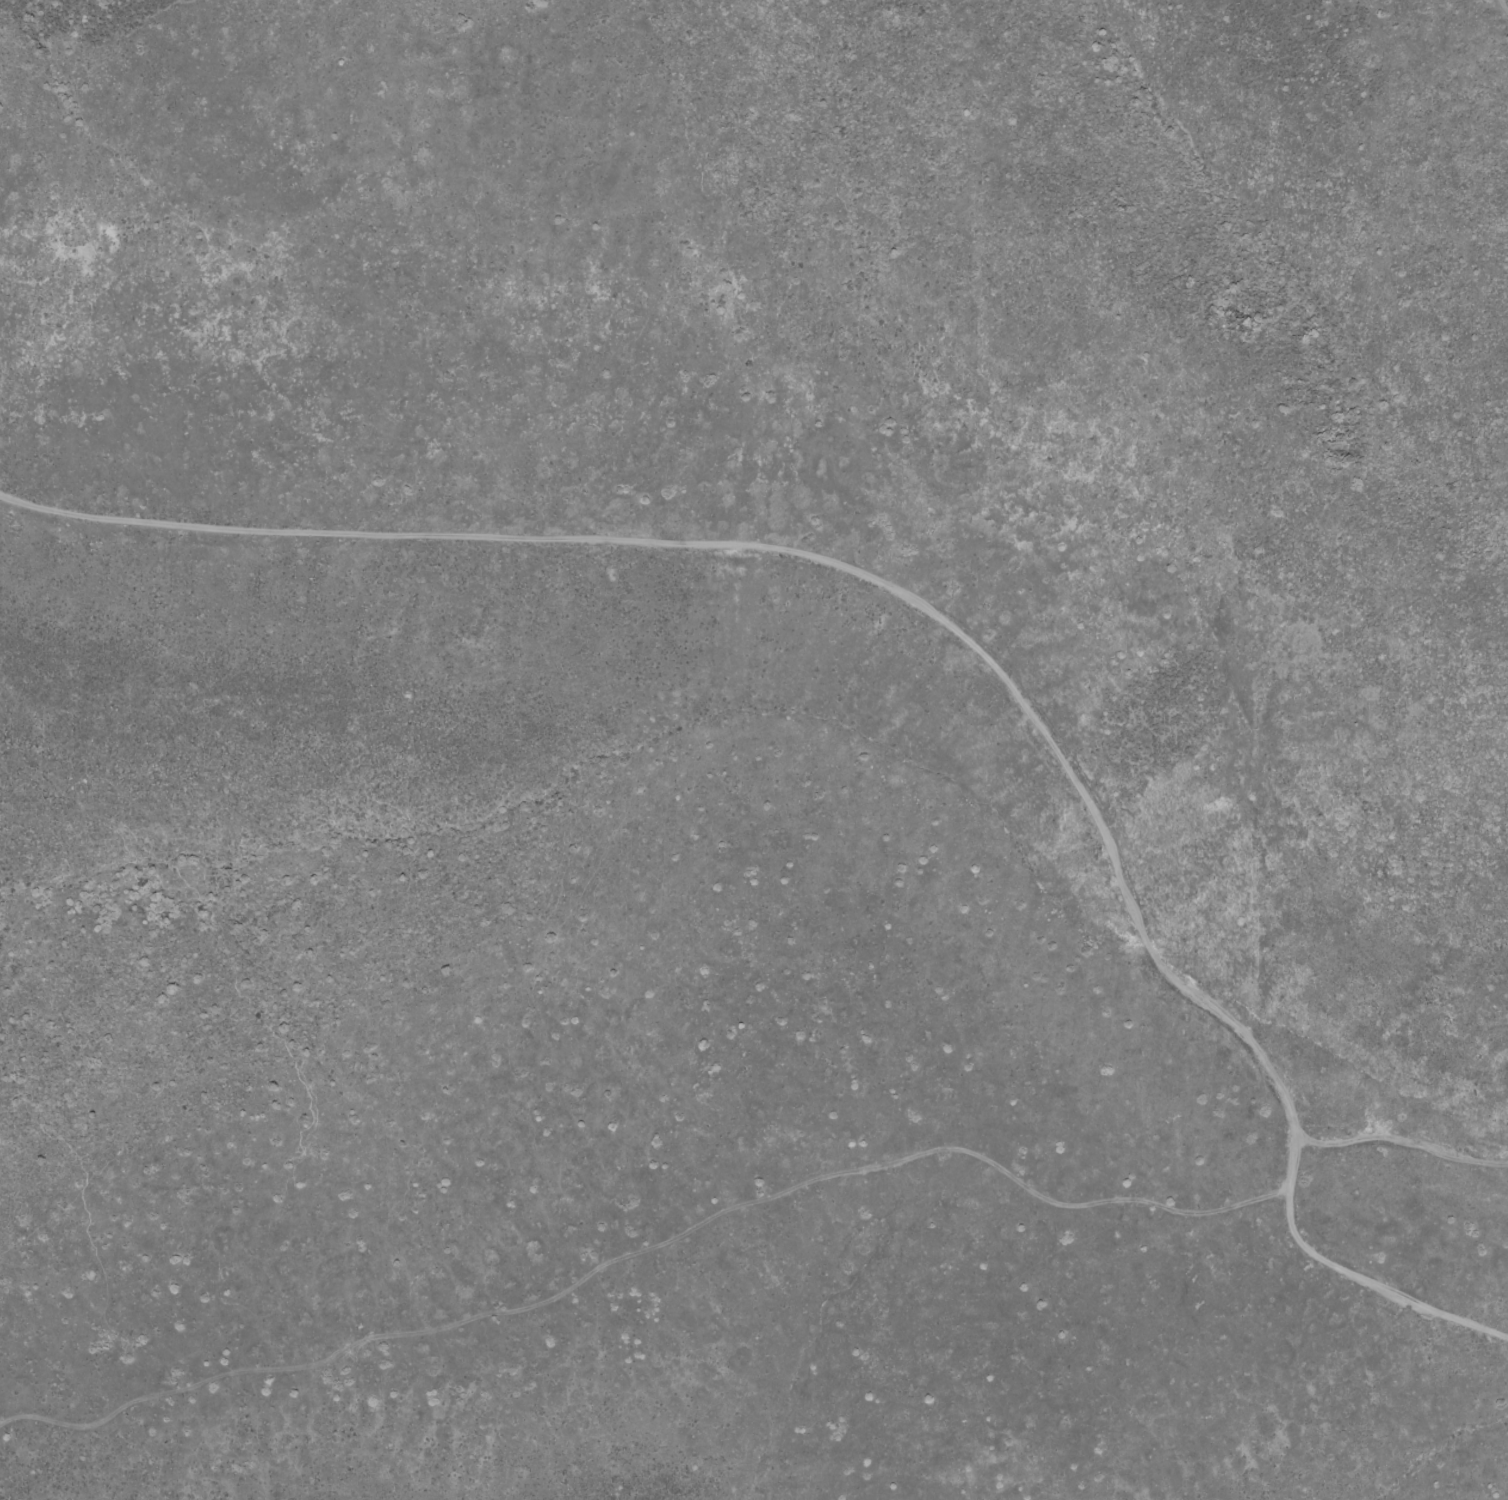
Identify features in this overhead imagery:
road: (1501, 11)
road: (947, 629)
road: (1398, 1143)
road: (644, 1249)

